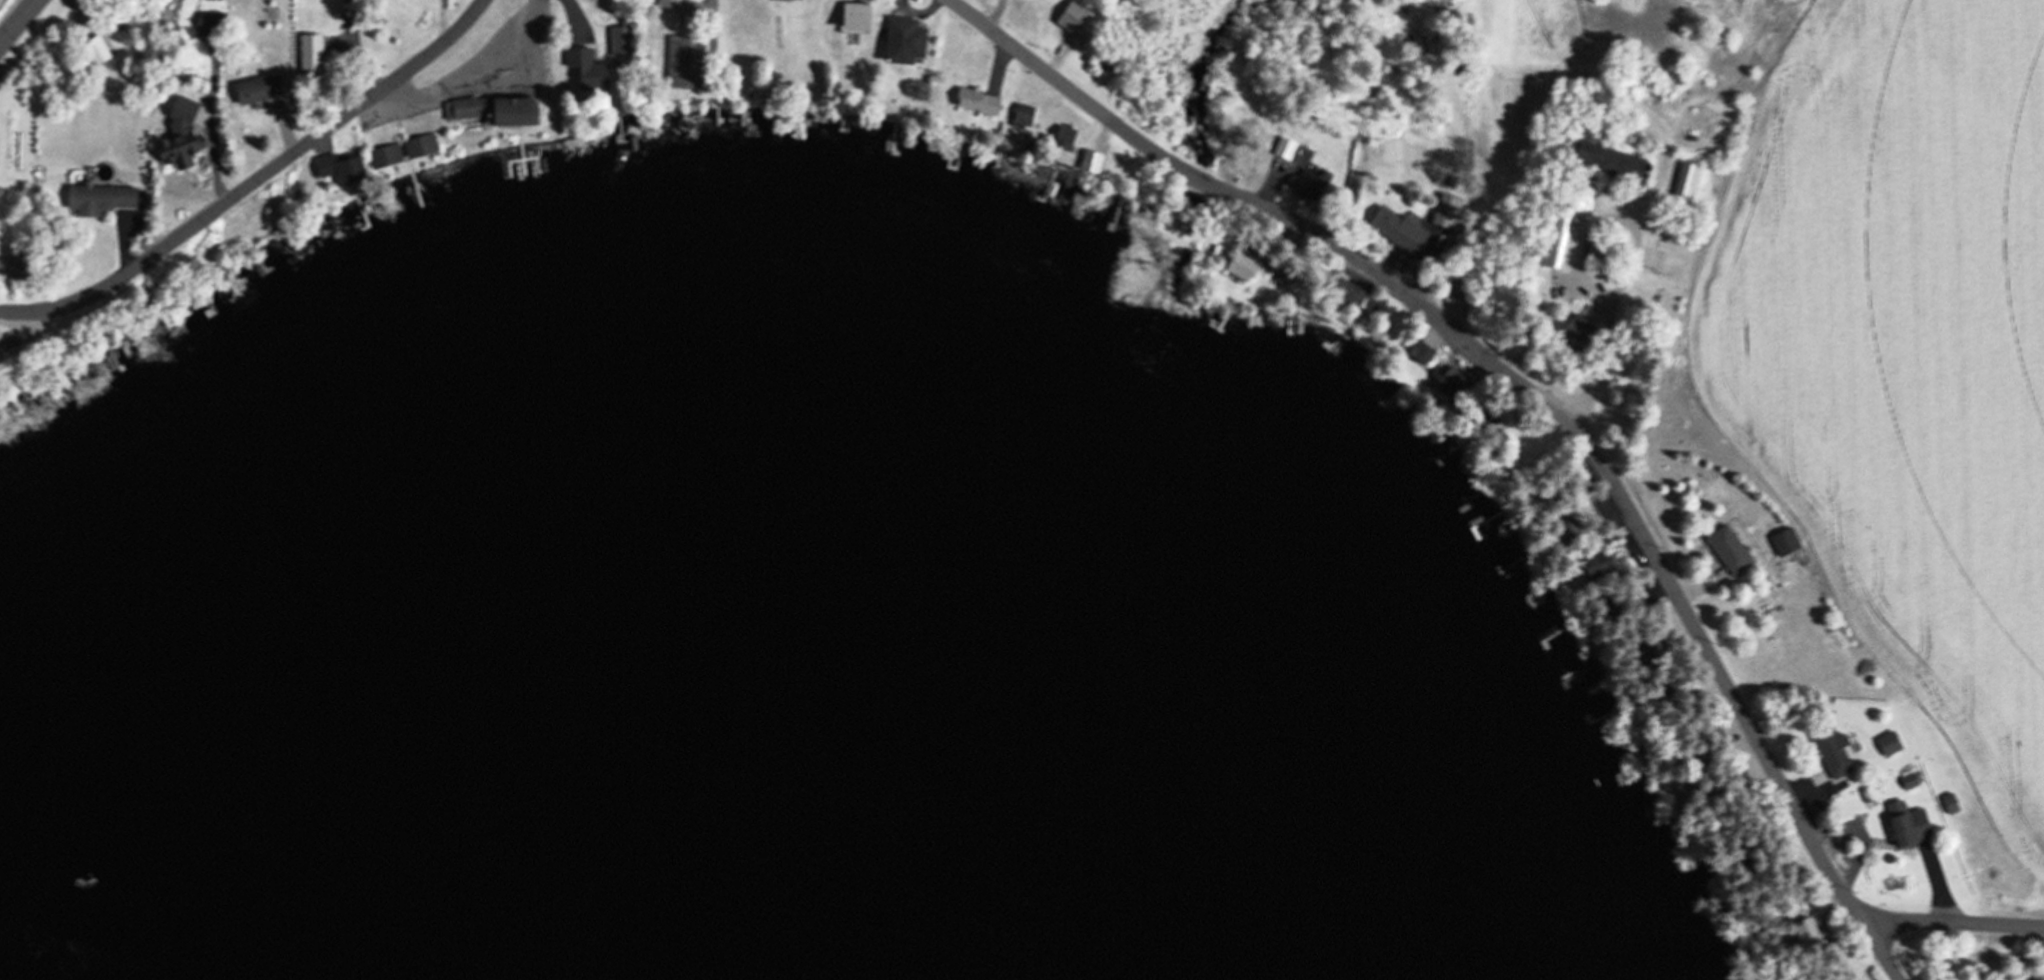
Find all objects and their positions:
building: (668, 4)
building: (1072, 17)
road: (19, 22)
building: (205, 23)
building: (902, 40)
building: (620, 41)
building: (95, 50)
building: (310, 55)
building: (595, 62)
building: (682, 63)
building: (257, 89)
building: (976, 100)
building: (462, 107)
building: (508, 111)
building: (1022, 117)
building: (179, 137)
building: (418, 145)
building: (1284, 148)
building: (383, 155)
building: (1605, 160)
building: (340, 168)
road: (253, 180)
building: (1685, 181)
building: (1310, 184)
building: (97, 199)
building: (1446, 211)
building: (1397, 230)
building: (1558, 236)
building: (17, 266)
building: (1241, 266)
building: (1460, 290)
building: (1354, 296)
road: (32, 330)
building: (1576, 331)
building: (1420, 353)
building: (1451, 383)
road: (1531, 389)
building: (1568, 522)
building: (1784, 541)
building: (1728, 550)
building: (1592, 567)
building: (1888, 744)
building: (1832, 752)
building: (1907, 781)
building: (1907, 825)
road: (1956, 922)
building: (1802, 927)

